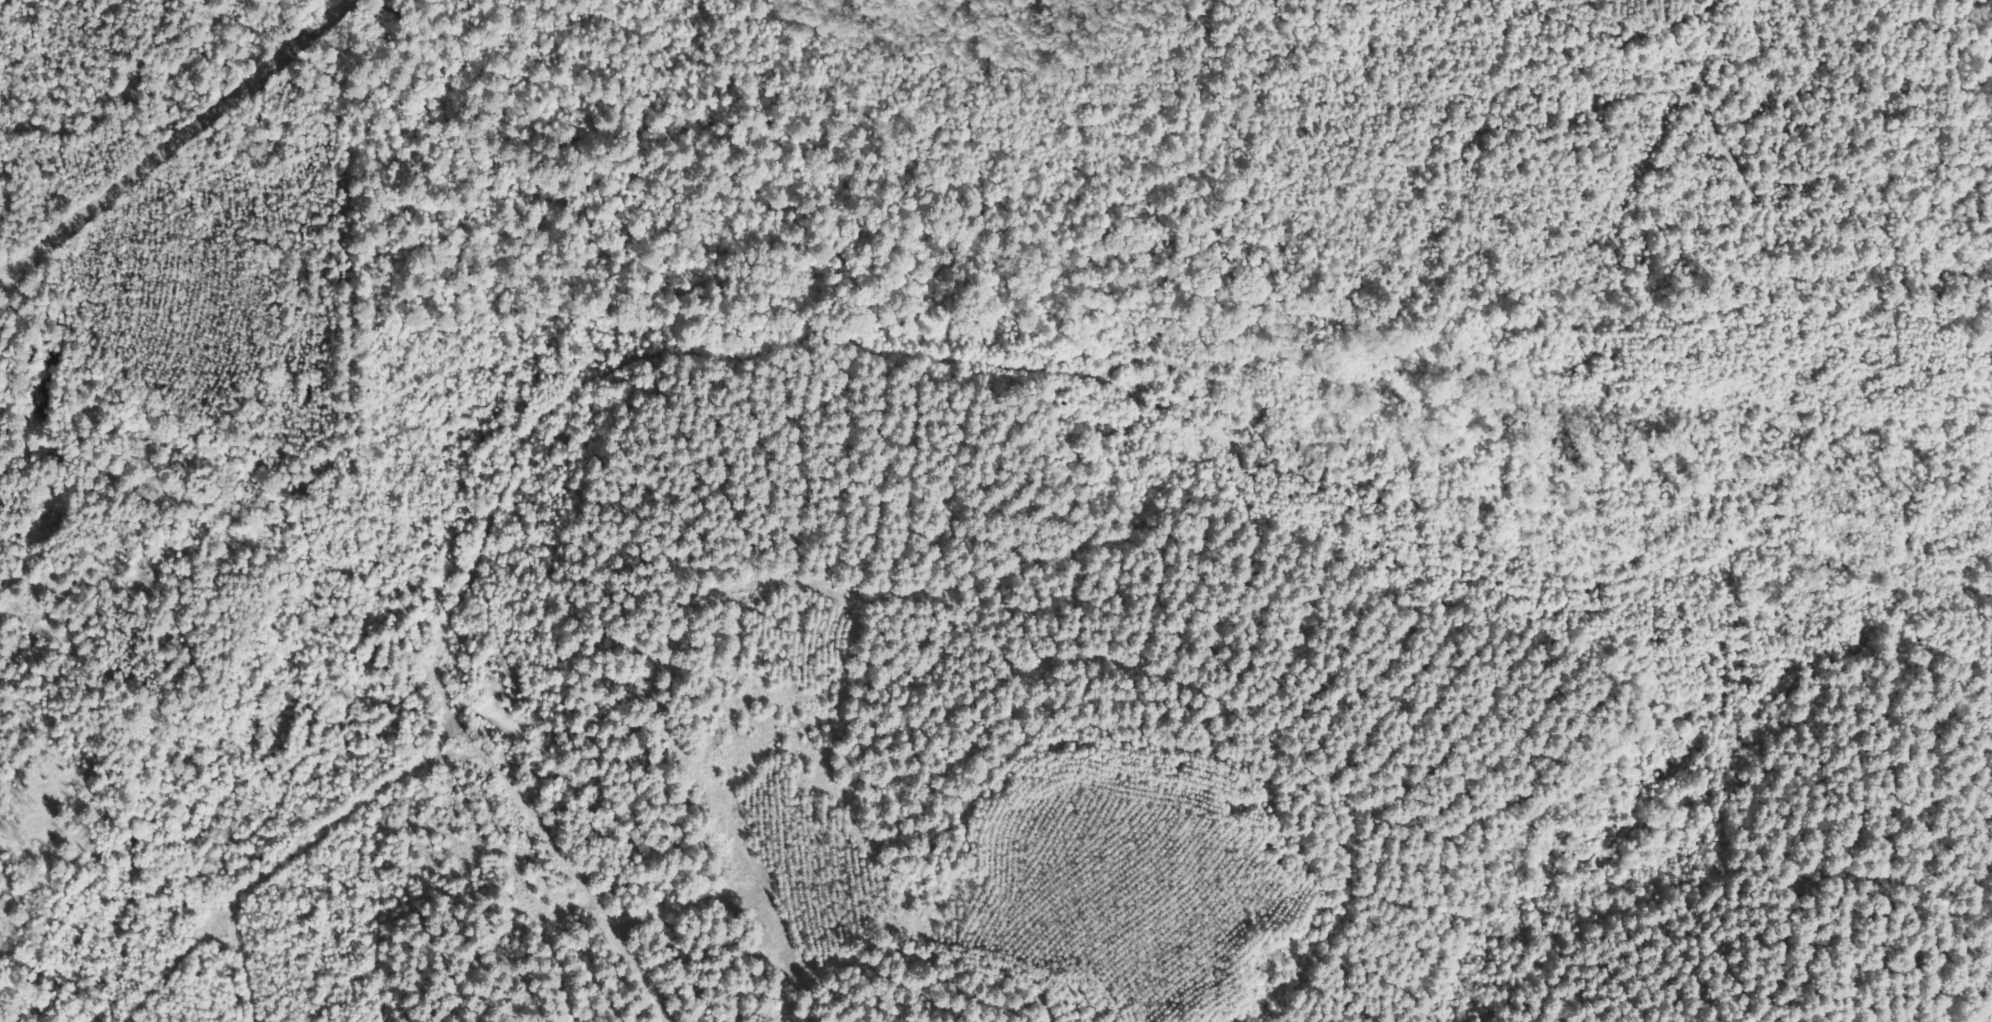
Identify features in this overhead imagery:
road: (117, 146)
road: (376, 544)

